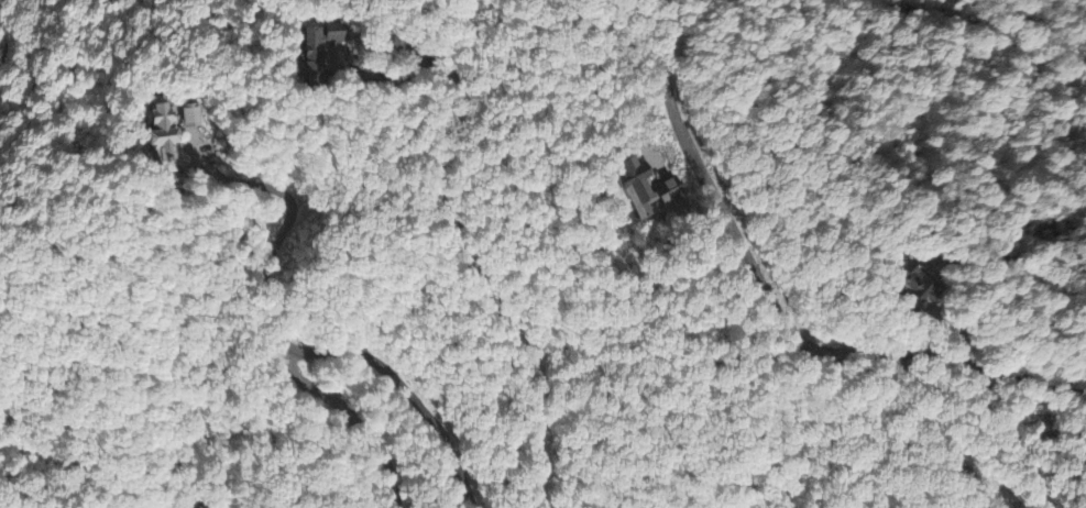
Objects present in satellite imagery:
road: (972, 33)
building: (318, 43)
building: (160, 143)
building: (635, 190)
building: (669, 192)
road: (458, 242)
building: (904, 280)
road: (770, 302)
road: (414, 397)
road: (986, 400)
road: (355, 418)

